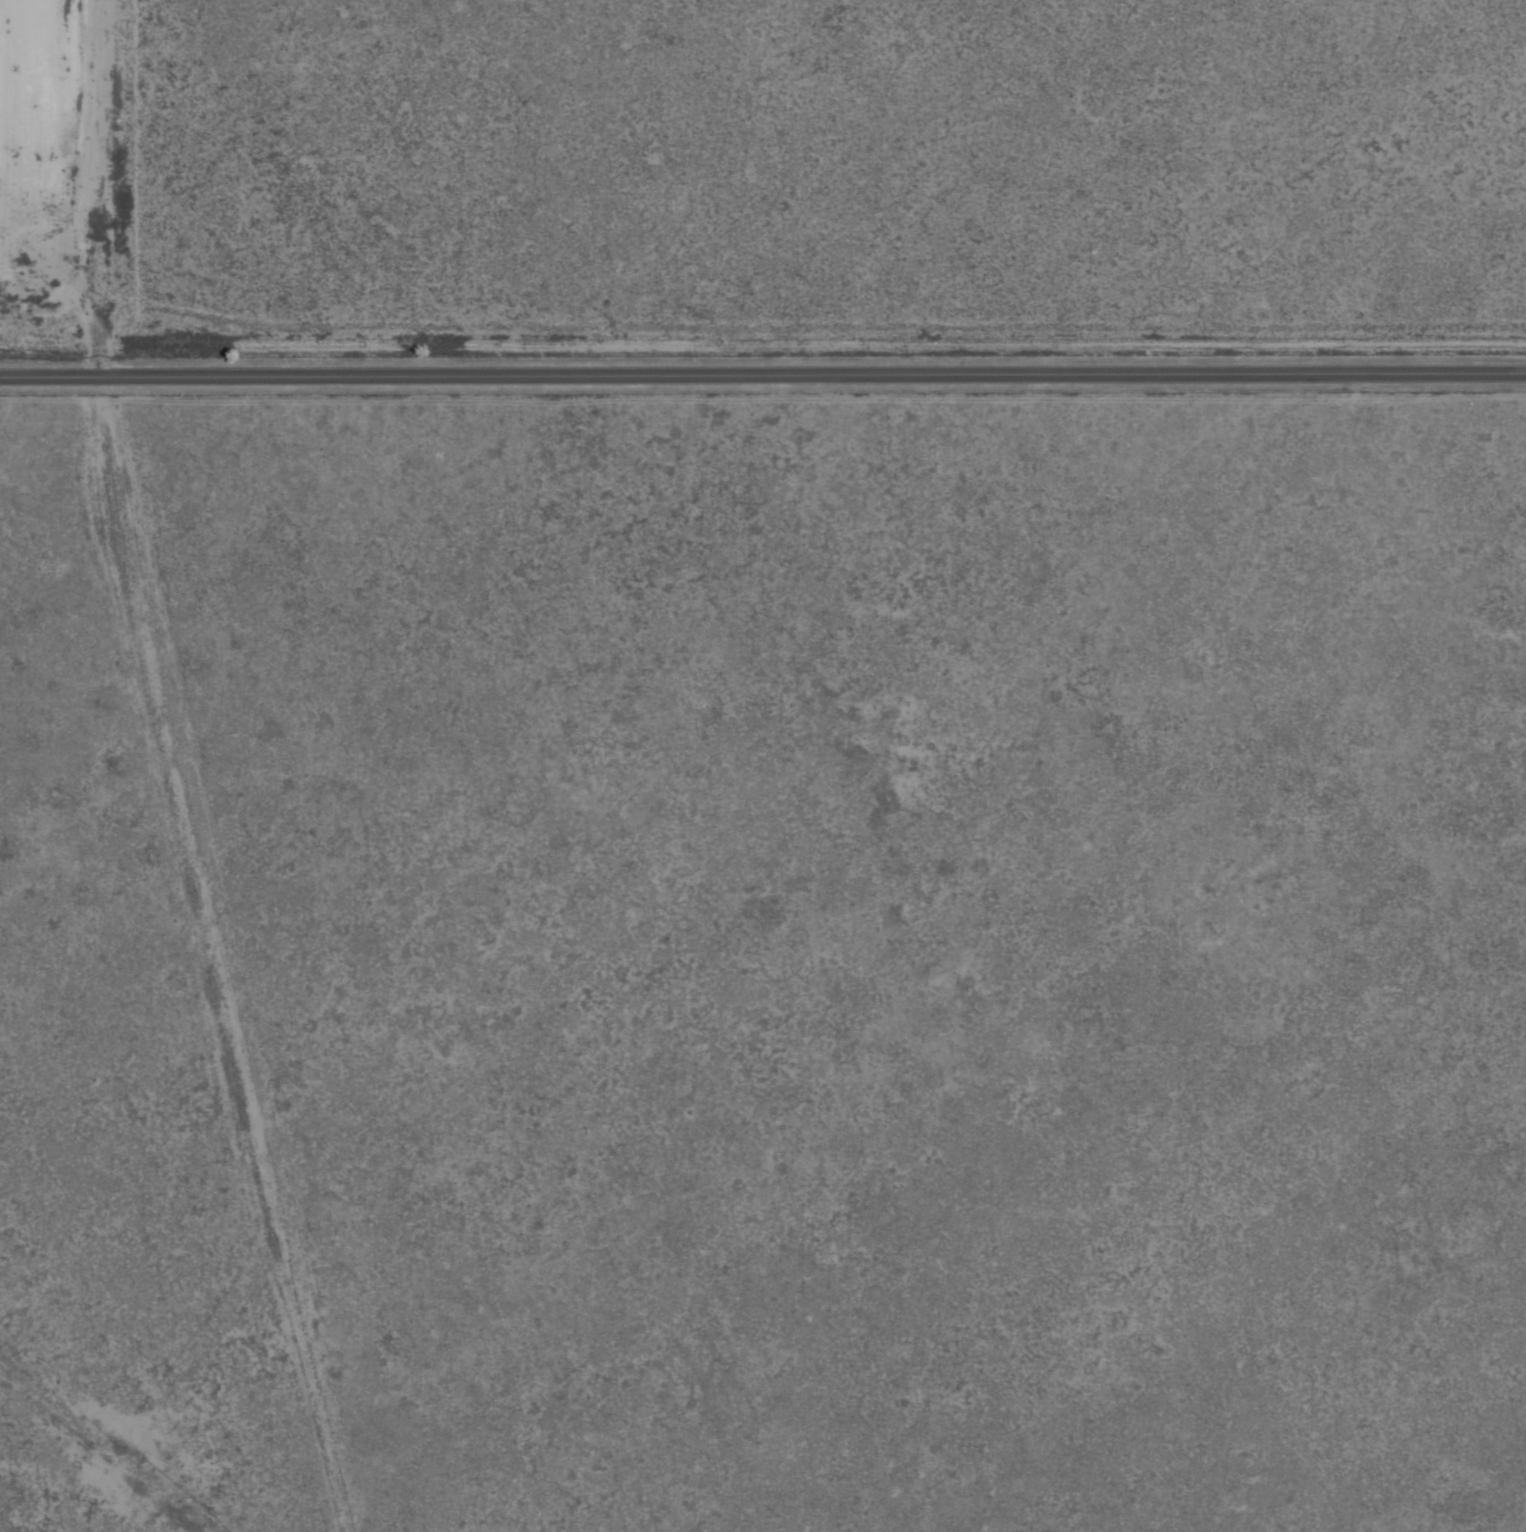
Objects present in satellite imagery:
road: (762, 370)

